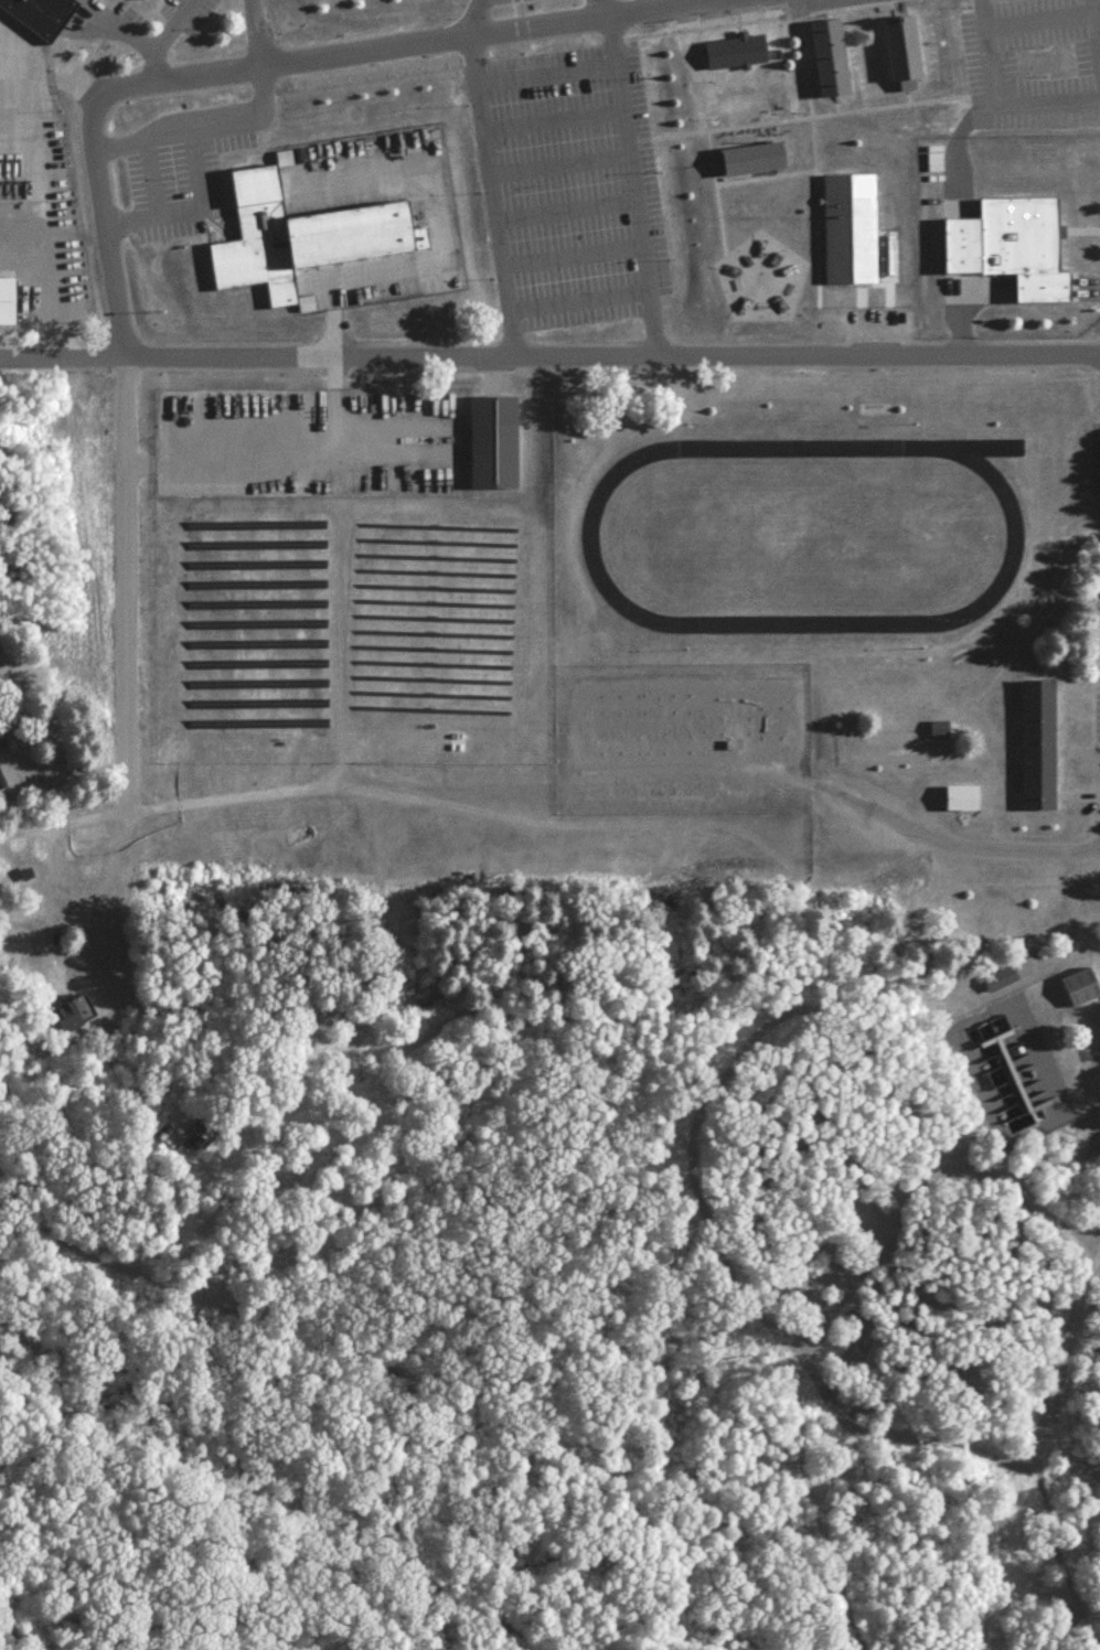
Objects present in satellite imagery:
building: (97, 0)
building: (140, 2)
road: (600, 8)
road: (471, 15)
building: (36, 17)
road: (976, 17)
road: (1094, 26)
road: (255, 32)
road: (160, 36)
road: (405, 43)
building: (738, 43)
building: (903, 47)
building: (831, 61)
parking lot: (1030, 62)
road: (984, 63)
road: (46, 66)
road: (544, 74)
road: (551, 116)
road: (196, 124)
building: (752, 159)
road: (557, 165)
road: (632, 184)
parking lot: (566, 185)
road: (489, 194)
road: (149, 200)
road: (564, 210)
road: (105, 227)
building: (847, 228)
building: (295, 242)
building: (1023, 249)
road: (569, 256)
building: (6, 299)
road: (576, 300)
road: (549, 354)
track: (981, 444)
building: (493, 446)
parking lot: (1093, 456)
track: (800, 534)
building: (1039, 747)
road: (555, 785)
road: (90, 925)
building: (1078, 985)
building: (70, 1011)
road: (1090, 1145)
road: (357, 1357)

